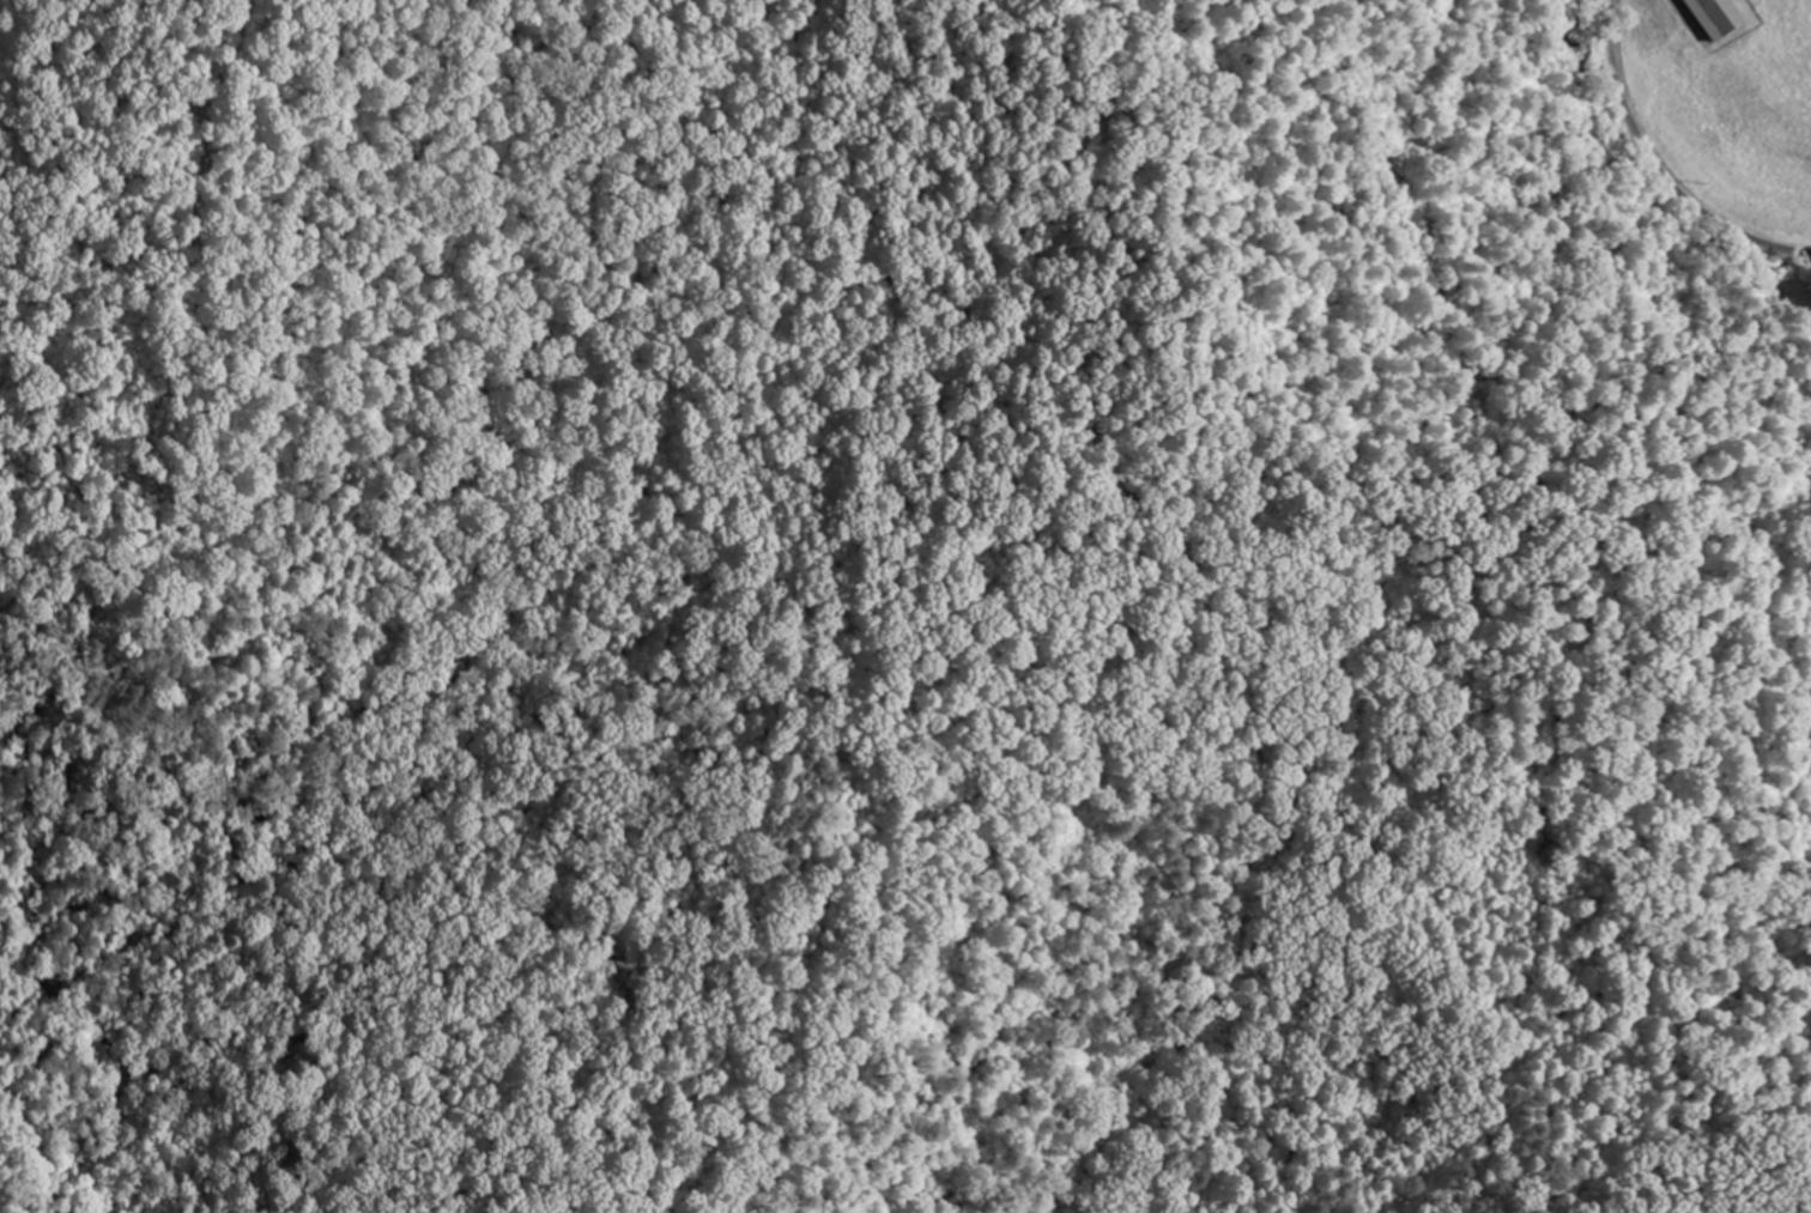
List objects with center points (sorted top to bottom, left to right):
building: (1709, 17)
road: (1660, 166)

